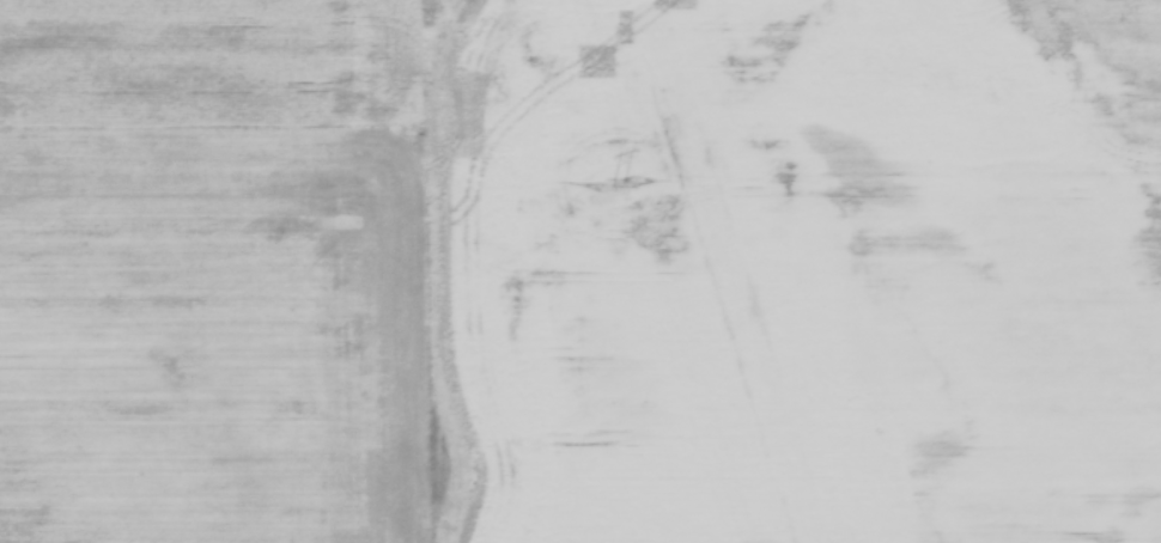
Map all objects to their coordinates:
power tower: (620, 184)

